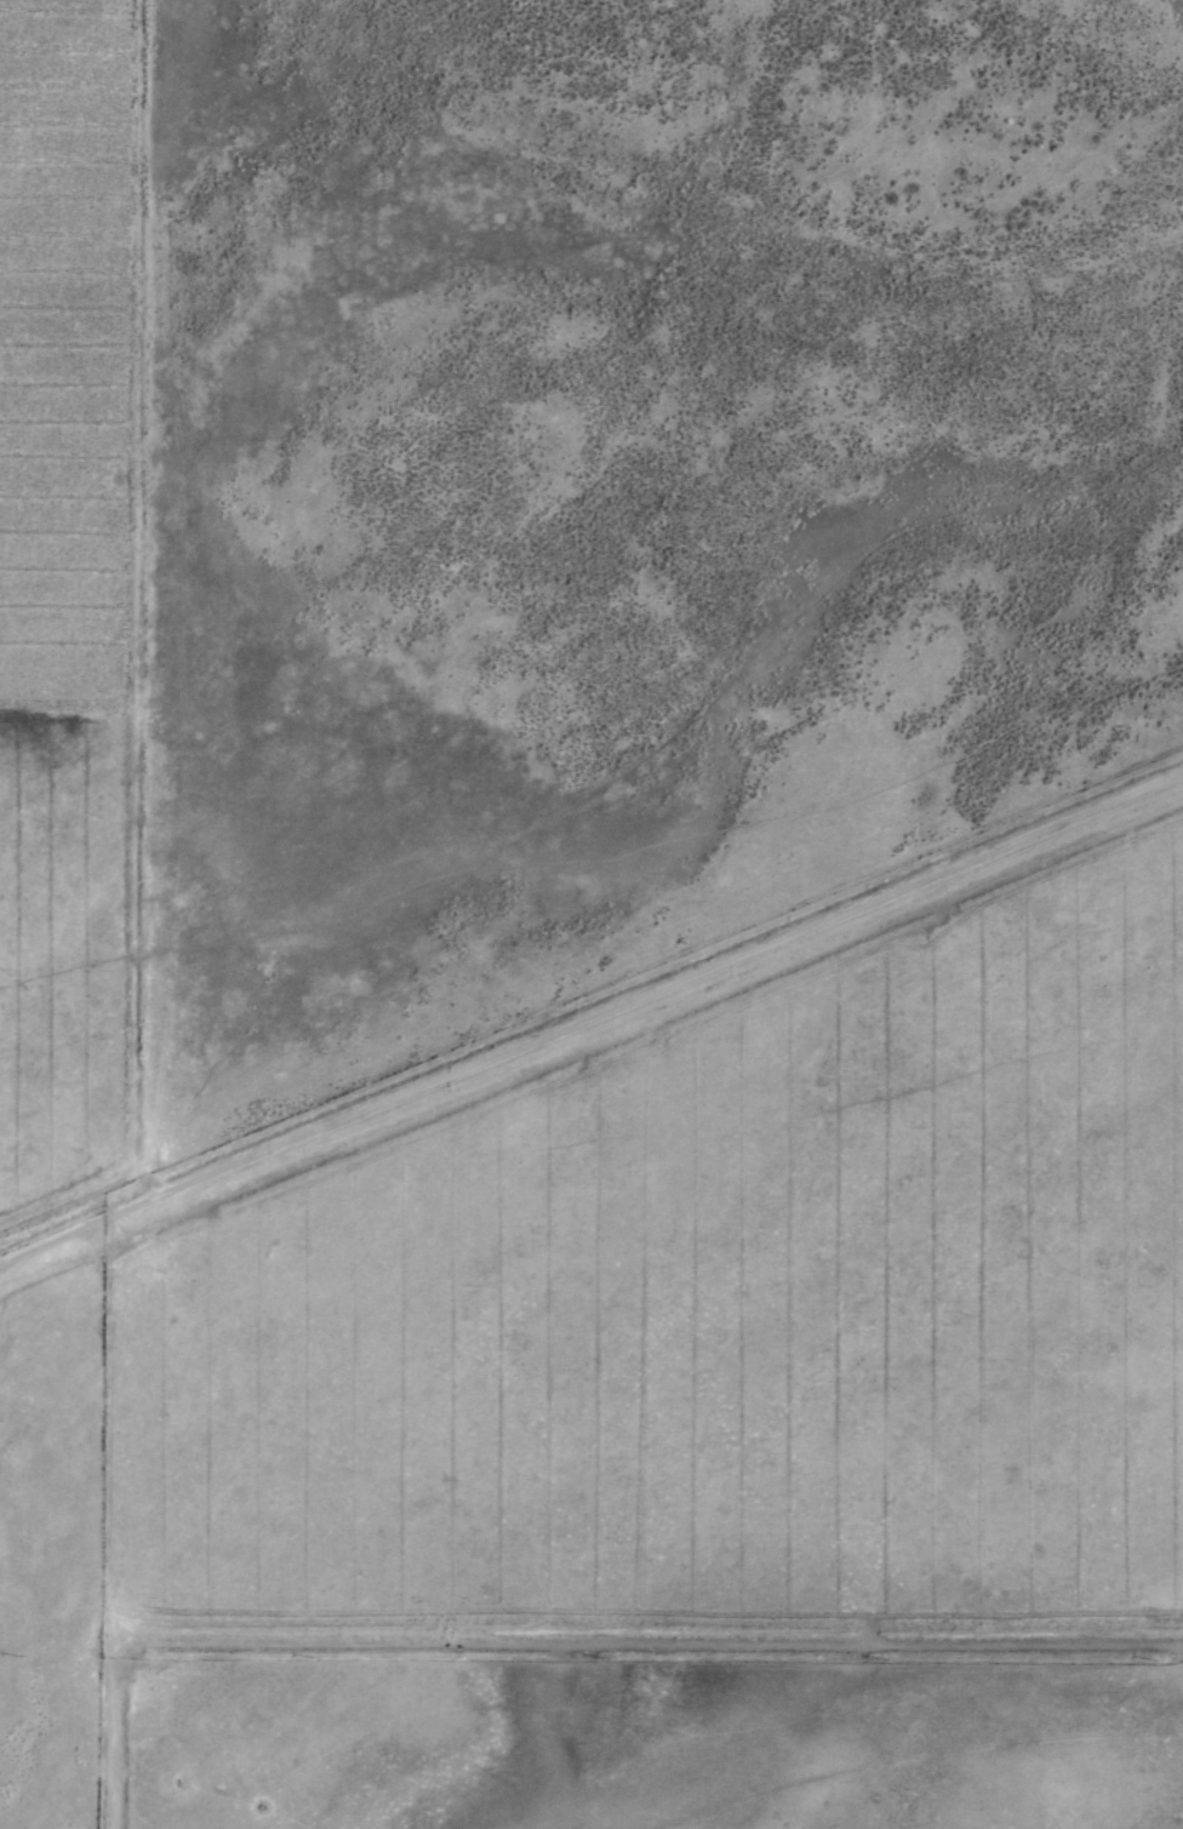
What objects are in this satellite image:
crop: (558, 704)
crop: (74, 998)
road: (591, 1012)
crop: (731, 1354)

